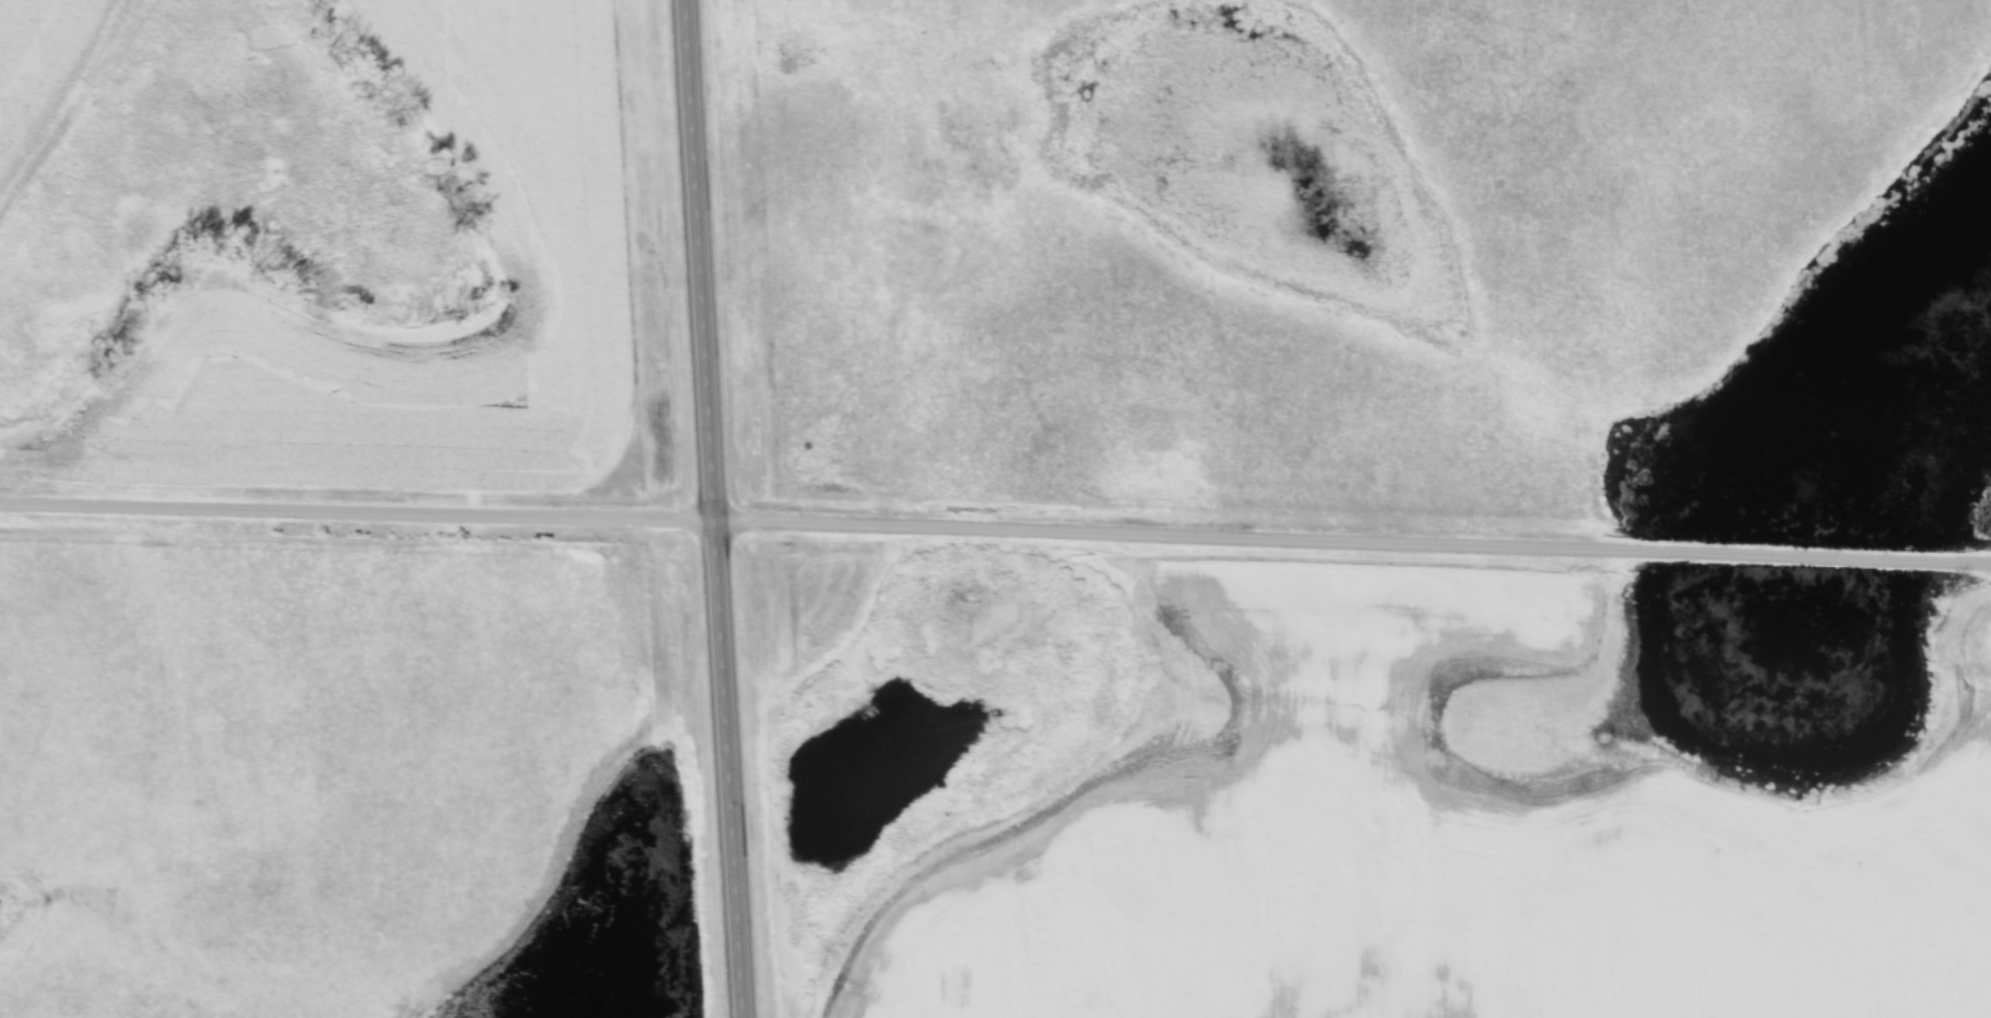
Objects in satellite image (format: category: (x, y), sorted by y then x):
road: (715, 509)
road: (995, 532)

